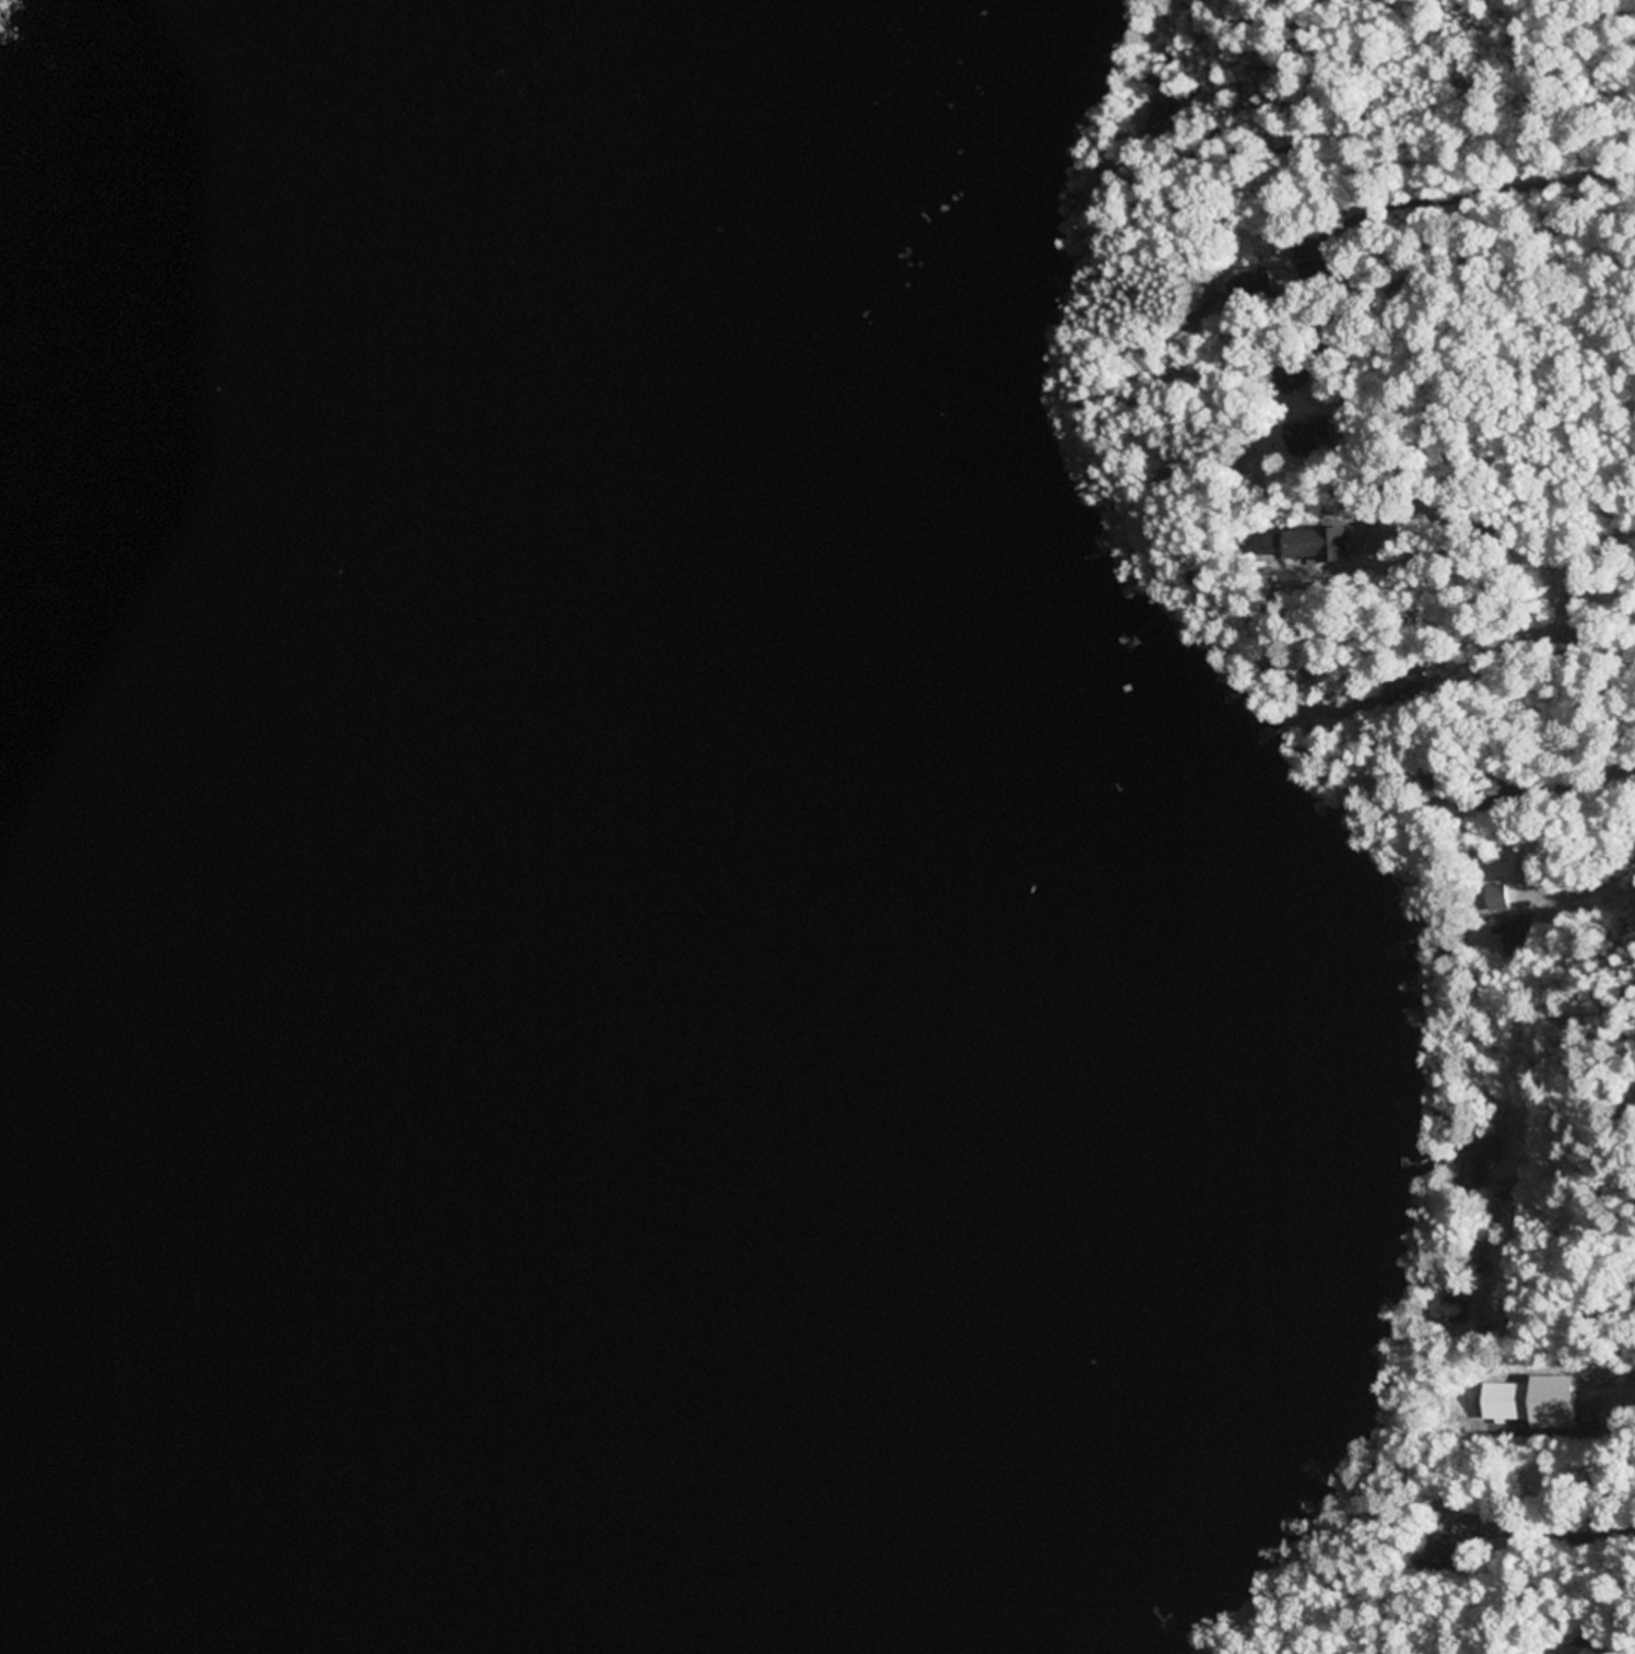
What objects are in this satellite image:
building: (1158, 120)
building: (1321, 271)
building: (1294, 375)
building: (1498, 899)
building: (1513, 932)
building: (1478, 1158)
building: (1454, 1310)
road: (1599, 1322)
building: (1438, 1553)
building: (1588, 1646)

